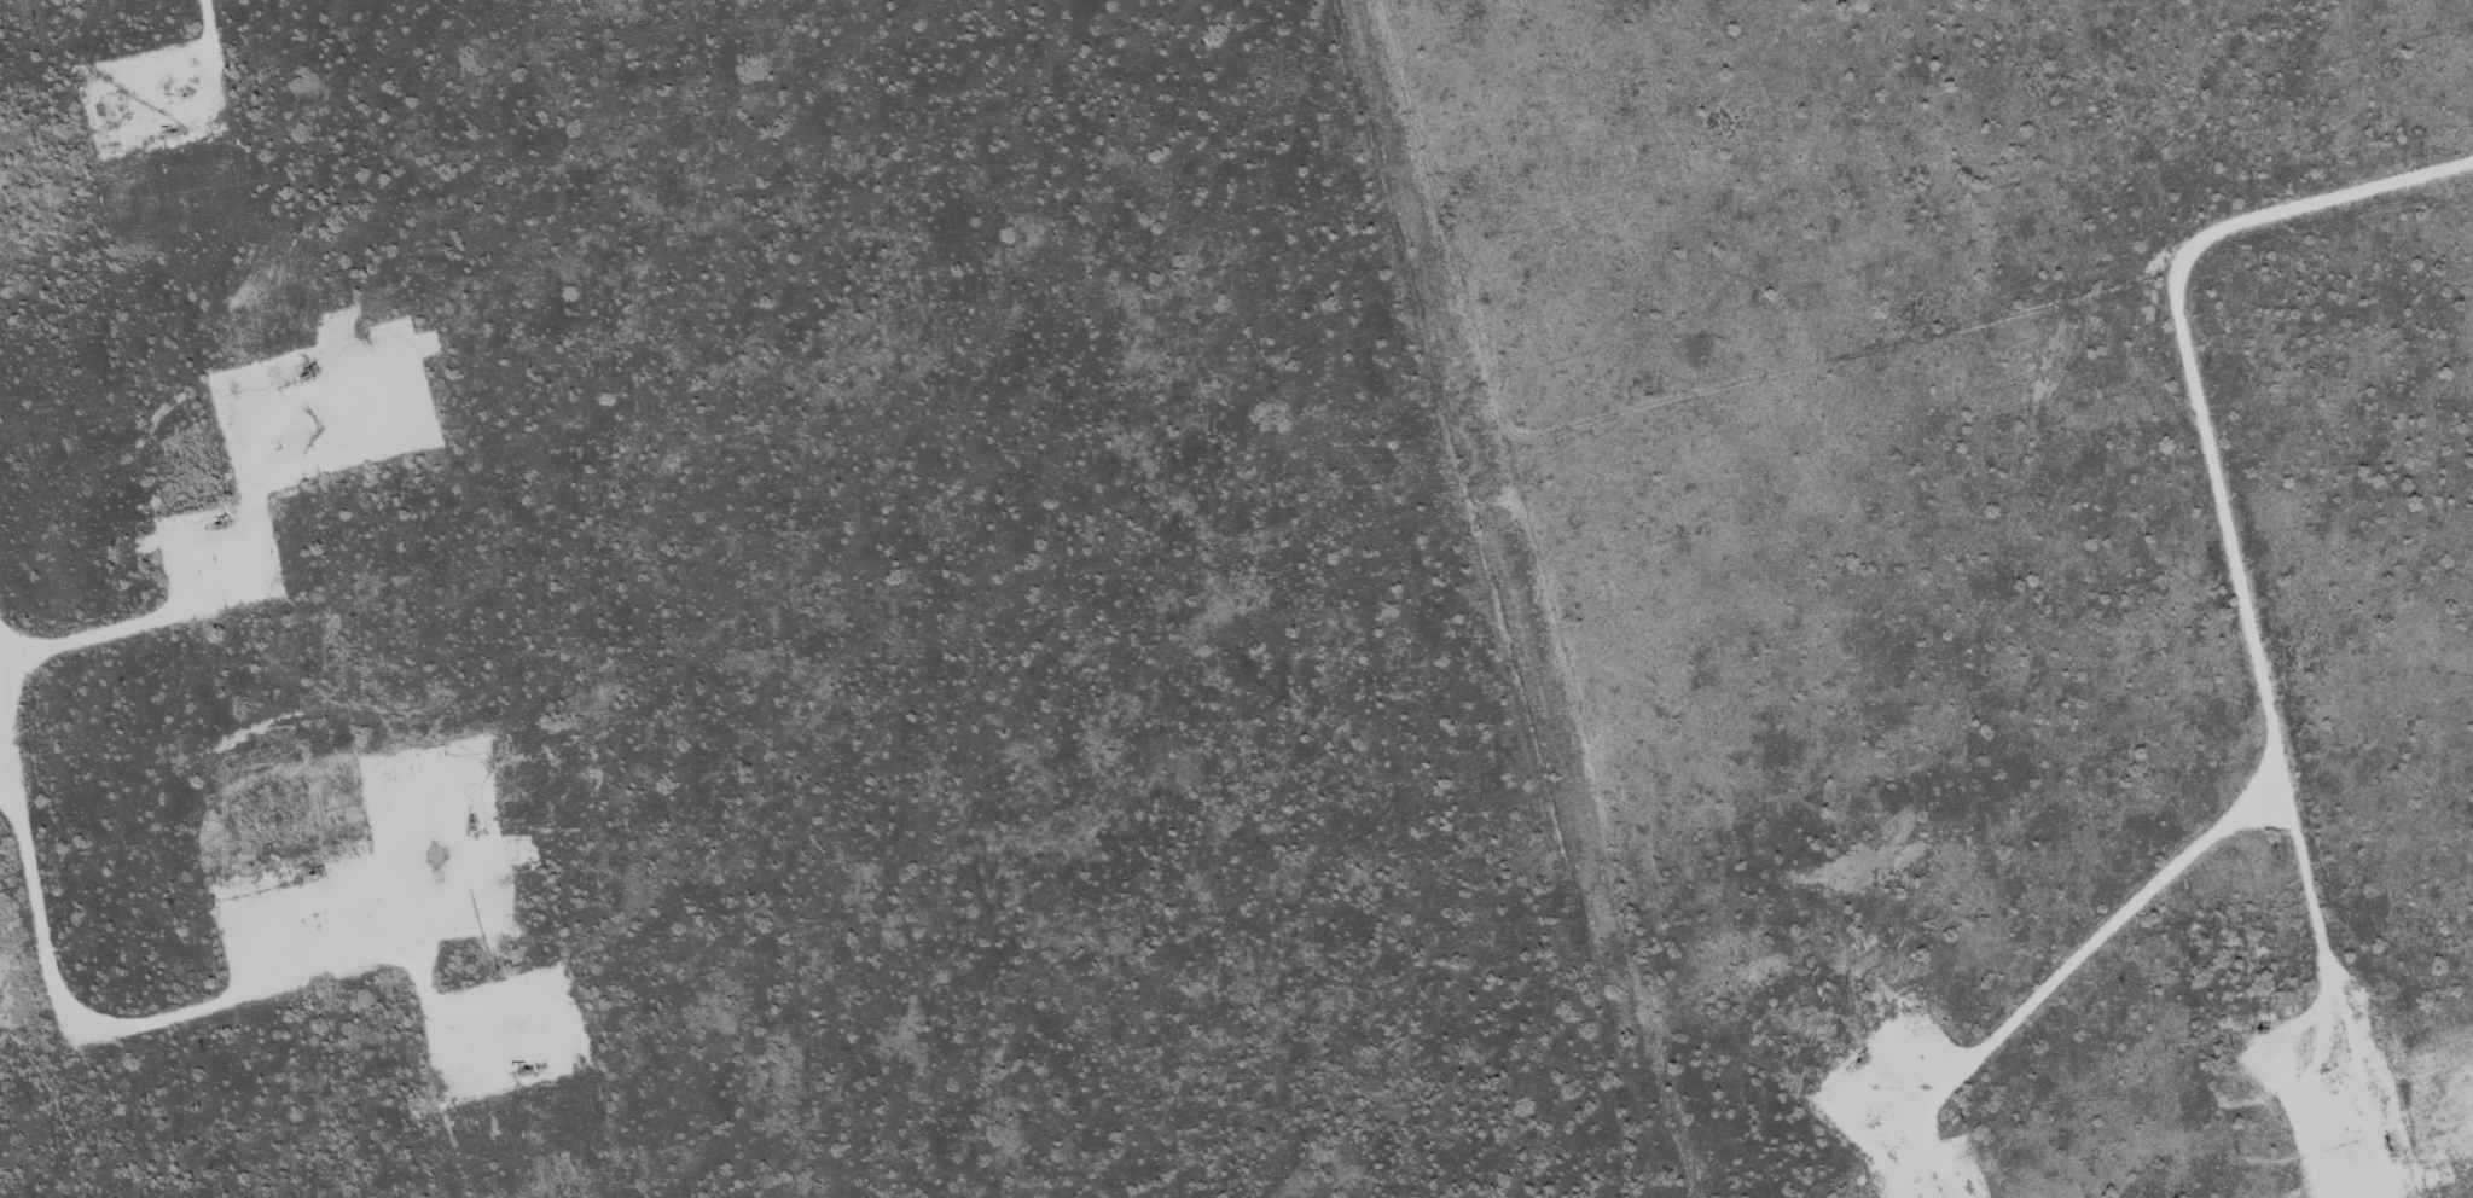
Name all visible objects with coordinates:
petroleum well: (220, 524)
road: (0, 676)
petroleum well: (309, 870)

